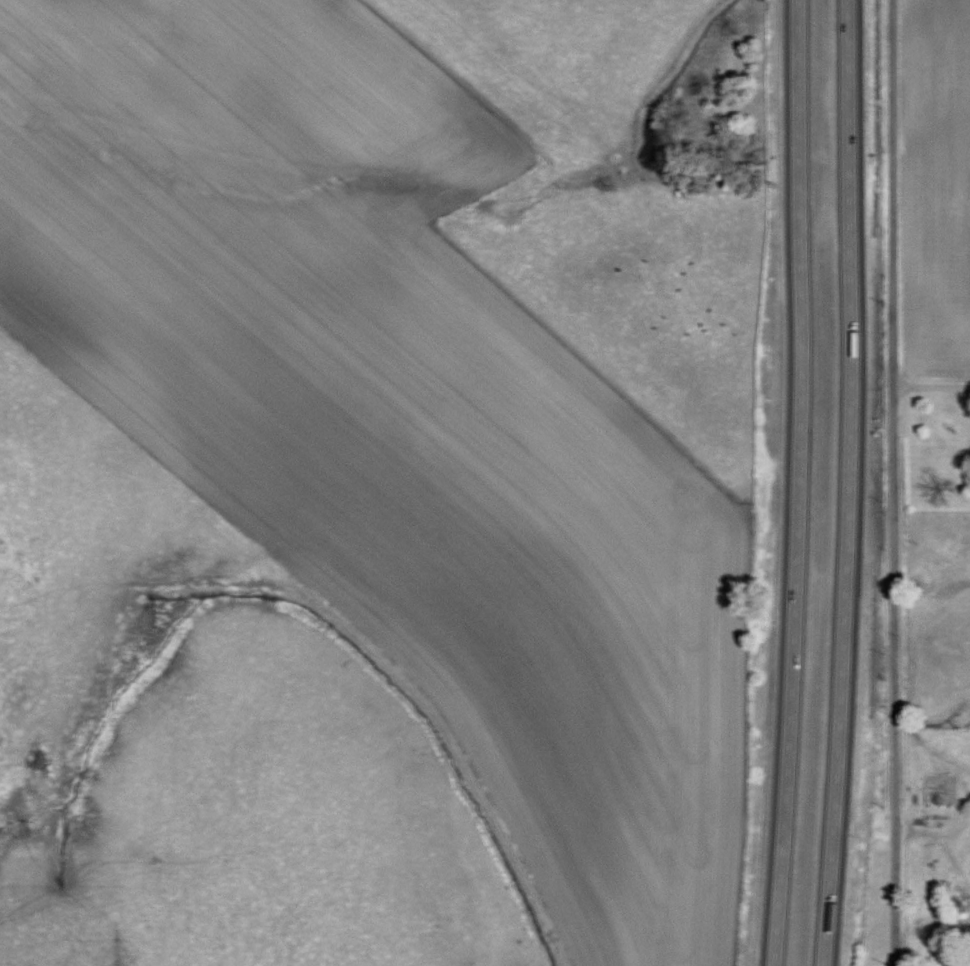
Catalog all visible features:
road: (931, 387)
road: (892, 482)
road: (794, 483)
road: (847, 483)
building: (932, 794)
building: (956, 902)

